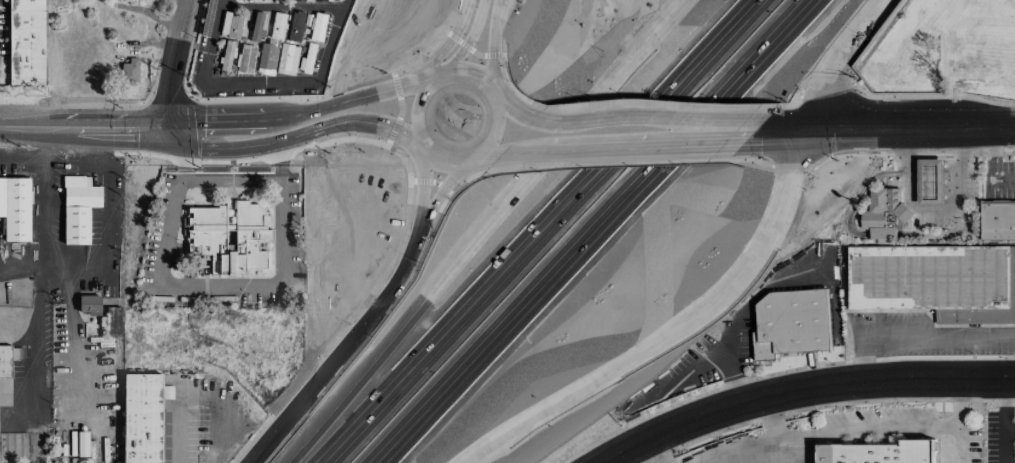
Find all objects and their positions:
building: (266, 0)
building: (282, 0)
building: (328, 0)
road: (219, 1)
road: (342, 5)
road: (855, 23)
building: (231, 26)
building: (277, 26)
building: (314, 26)
building: (257, 28)
building: (294, 28)
building: (26, 43)
road: (459, 44)
road: (486, 47)
building: (226, 56)
building: (266, 58)
road: (174, 60)
building: (245, 60)
building: (286, 60)
building: (308, 61)
building: (129, 72)
road: (318, 82)
road: (819, 86)
road: (417, 102)
road: (298, 114)
road: (908, 116)
road: (85, 119)
road: (547, 124)
road: (172, 127)
road: (781, 127)
road: (678, 131)
road: (107, 133)
road: (307, 136)
road: (908, 137)
road: (178, 141)
road: (91, 145)
road: (538, 147)
road: (181, 164)
road: (229, 179)
building: (930, 181)
building: (15, 209)
building: (78, 209)
building: (886, 215)
building: (997, 219)
road: (477, 229)
road: (589, 230)
road: (539, 231)
building: (228, 237)
road: (760, 237)
road: (421, 244)
road: (70, 275)
road: (231, 282)
building: (935, 282)
building: (88, 305)
building: (113, 321)
building: (791, 323)
road: (939, 336)
road: (73, 342)
road: (35, 347)
road: (864, 360)
building: (5, 362)
road: (307, 387)
road: (802, 390)
road: (570, 392)
building: (166, 393)
building: (142, 419)
road: (901, 422)
road: (963, 422)
road: (1005, 422)
parking lot: (911, 423)
road: (1010, 430)
building: (82, 444)
building: (880, 452)

